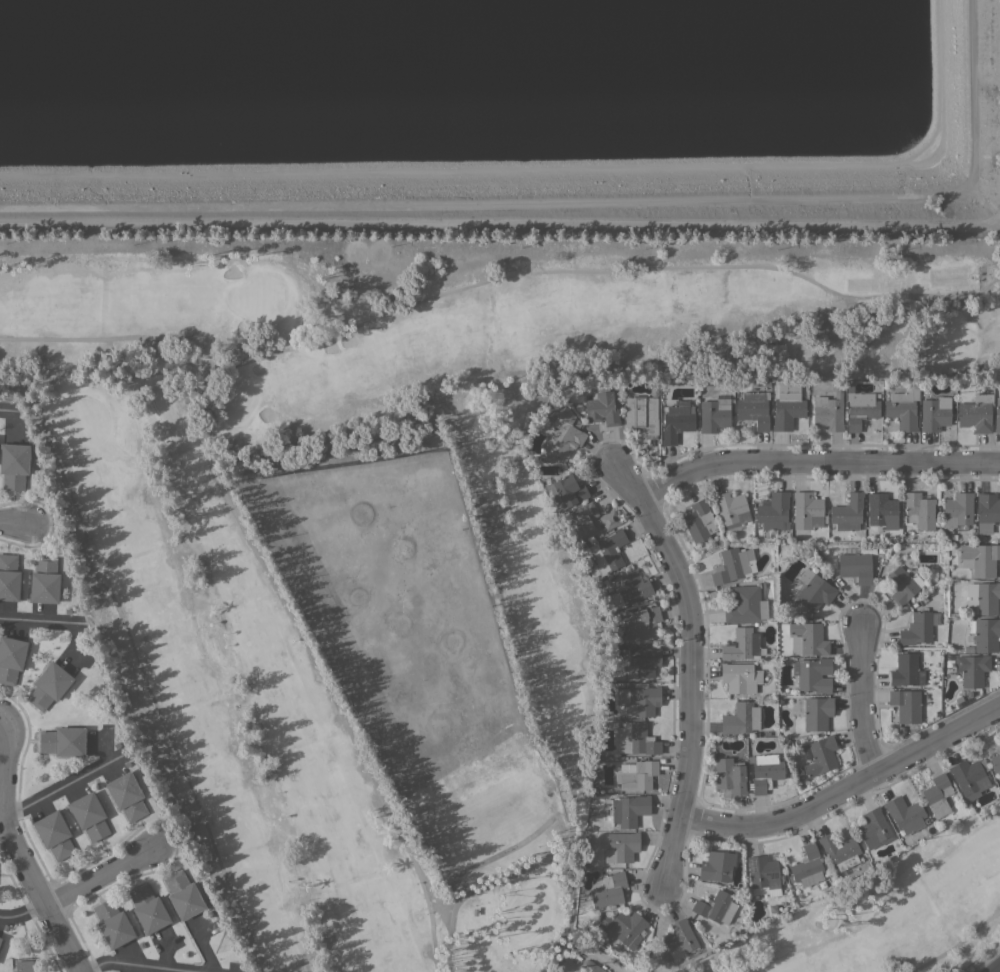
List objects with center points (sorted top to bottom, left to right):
road: (500, 219)
road: (598, 269)
road: (124, 336)
building: (787, 406)
building: (601, 407)
building: (860, 407)
building: (753, 409)
building: (902, 409)
road: (9, 411)
building: (639, 412)
building: (828, 412)
building: (934, 413)
building: (976, 413)
building: (714, 415)
building: (997, 415)
building: (676, 421)
building: (562, 430)
road: (814, 462)
building: (13, 465)
building: (568, 489)
building: (731, 509)
building: (957, 509)
building: (806, 510)
building: (918, 510)
building: (774, 511)
building: (881, 511)
building: (987, 511)
building: (847, 512)
building: (589, 521)
building: (698, 521)
road: (13, 523)
park: (393, 528)
building: (607, 551)
building: (979, 558)
building: (732, 565)
building: (855, 567)
building: (9, 577)
building: (44, 580)
building: (902, 584)
building: (629, 588)
building: (814, 592)
building: (985, 597)
building: (745, 605)
road: (41, 620)
building: (640, 623)
building: (917, 627)
building: (984, 634)
building: (807, 638)
building: (742, 645)
building: (11, 658)
building: (640, 661)
road: (139, 665)
road: (690, 665)
road: (317, 668)
building: (972, 669)
building: (906, 670)
building: (813, 674)
building: (739, 677)
building: (49, 686)
building: (638, 699)
road: (861, 700)
building: (905, 705)
building: (815, 712)
building: (740, 718)
building: (635, 738)
building: (63, 741)
building: (821, 754)
building: (995, 762)
building: (765, 772)
building: (729, 775)
building: (637, 776)
building: (969, 778)
road: (63, 785)
road: (844, 789)
building: (126, 795)
building: (937, 795)
road: (1, 810)
building: (628, 810)
building: (904, 814)
building: (89, 815)
building: (873, 828)
building: (54, 834)
building: (621, 846)
building: (839, 850)
road: (16, 853)
road: (545, 856)
building: (717, 866)
building: (806, 866)
building: (763, 872)
road: (97, 876)
building: (608, 890)
building: (183, 895)
building: (716, 907)
building: (148, 909)
road: (22, 913)
park: (891, 919)
building: (112, 924)
building: (622, 929)
building: (0, 939)
building: (679, 941)
road: (956, 943)
road: (134, 965)
building: (23, 966)
building: (591, 967)
road: (994, 967)

